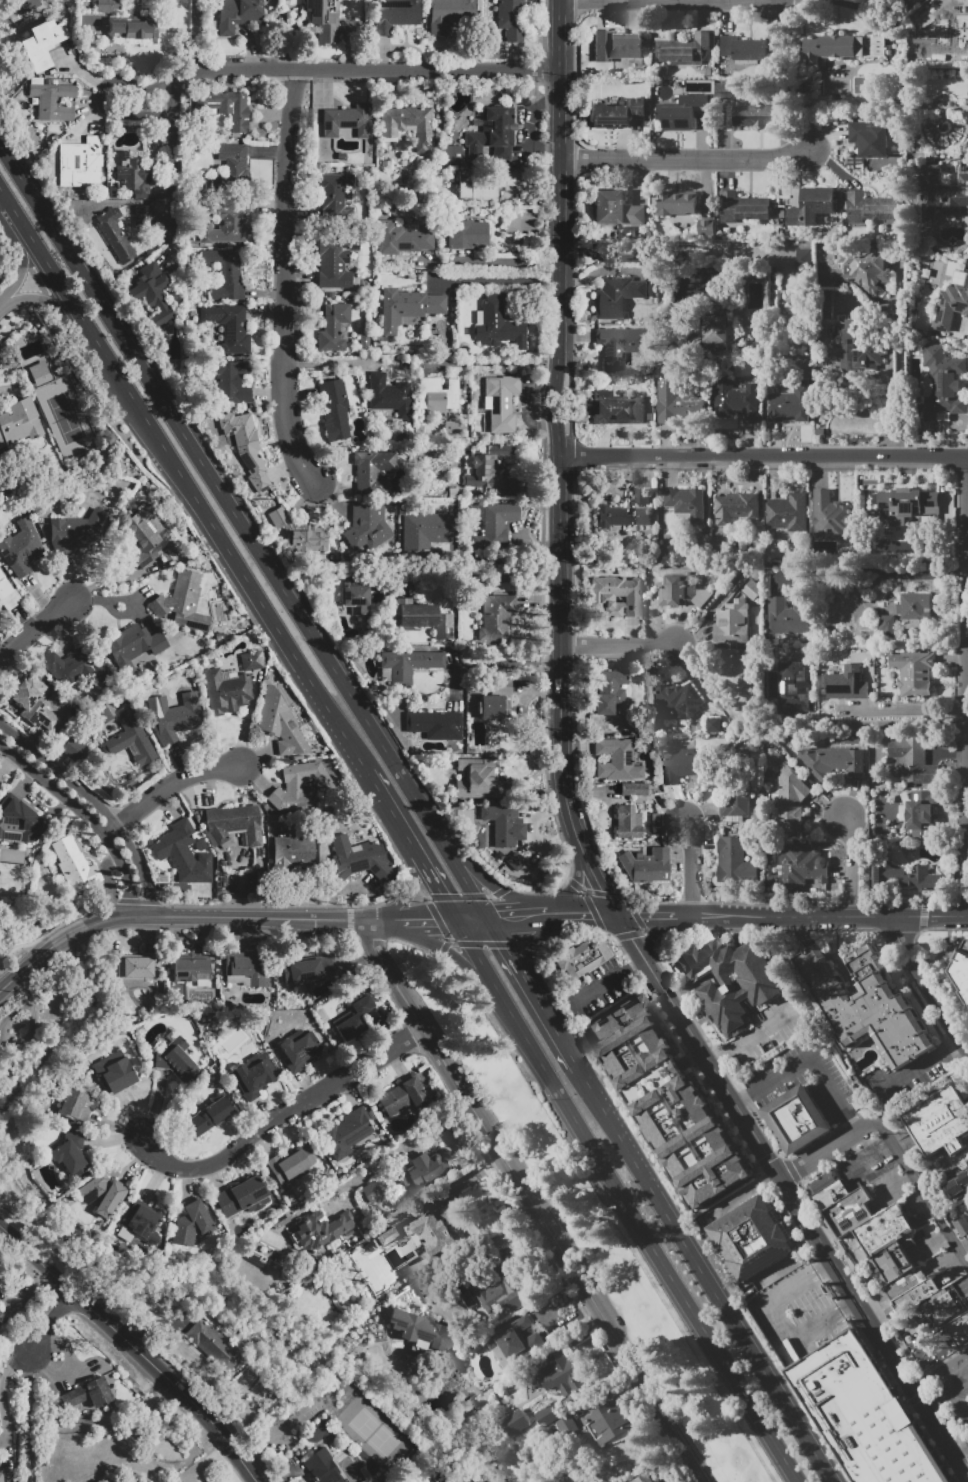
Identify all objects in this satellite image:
building: (170, 0)
building: (137, 2)
building: (107, 6)
building: (238, 15)
building: (396, 15)
building: (450, 15)
building: (511, 19)
building: (333, 23)
building: (139, 27)
building: (944, 29)
road: (191, 38)
building: (44, 46)
building: (617, 46)
building: (839, 48)
building: (683, 50)
building: (742, 50)
road: (347, 72)
road: (135, 85)
building: (724, 92)
building: (54, 103)
building: (226, 108)
building: (680, 112)
building: (616, 113)
building: (757, 116)
building: (346, 120)
building: (410, 125)
building: (493, 135)
building: (869, 139)
building: (453, 154)
road: (172, 157)
building: (232, 161)
road: (688, 161)
building: (81, 164)
road: (562, 165)
building: (134, 173)
building: (483, 184)
building: (941, 194)
building: (336, 195)
building: (677, 203)
building: (742, 207)
building: (811, 207)
building: (870, 208)
building: (616, 212)
building: (144, 215)
building: (512, 222)
building: (228, 223)
building: (706, 230)
building: (467, 235)
building: (114, 236)
building: (403, 237)
road: (634, 255)
building: (333, 257)
building: (803, 258)
road: (23, 262)
road: (493, 262)
building: (863, 269)
building: (228, 272)
road: (288, 281)
road: (497, 283)
building: (152, 295)
building: (619, 295)
road: (42, 298)
building: (952, 301)
road: (6, 302)
building: (408, 307)
building: (498, 325)
building: (228, 327)
building: (333, 327)
building: (715, 333)
building: (620, 345)
building: (858, 349)
road: (899, 359)
road: (336, 362)
road: (489, 363)
building: (39, 373)
building: (231, 381)
building: (942, 385)
road: (556, 392)
road: (570, 393)
building: (439, 394)
road: (890, 394)
building: (388, 396)
building: (497, 400)
building: (675, 401)
building: (735, 402)
building: (789, 406)
building: (621, 407)
building: (334, 409)
park: (65, 418)
building: (20, 422)
building: (2, 442)
building: (246, 447)
road: (763, 456)
building: (489, 467)
building: (372, 471)
road: (186, 481)
building: (515, 486)
building: (641, 497)
building: (908, 501)
building: (686, 503)
building: (735, 507)
building: (787, 513)
building: (829, 515)
building: (621, 516)
building: (280, 518)
road: (247, 526)
building: (496, 526)
building: (369, 529)
building: (427, 530)
building: (76, 531)
building: (147, 535)
building: (308, 540)
building: (21, 548)
road: (872, 569)
road: (967, 569)
road: (228, 583)
building: (752, 590)
building: (682, 591)
building: (7, 593)
building: (616, 596)
building: (355, 598)
building: (181, 599)
building: (913, 609)
building: (418, 614)
building: (788, 616)
building: (496, 617)
building: (732, 623)
building: (879, 623)
building: (444, 626)
road: (37, 629)
road: (615, 644)
building: (136, 650)
road: (967, 658)
road: (486, 660)
building: (251, 661)
building: (77, 664)
building: (407, 665)
building: (913, 672)
building: (844, 683)
road: (965, 686)
building: (795, 687)
building: (226, 690)
road: (559, 691)
building: (610, 692)
building: (676, 702)
building: (34, 704)
building: (492, 706)
road: (905, 709)
building: (174, 717)
building: (281, 722)
building: (424, 722)
building: (711, 724)
road: (889, 725)
building: (131, 738)
building: (73, 749)
building: (772, 756)
building: (618, 758)
building: (831, 761)
building: (912, 761)
building: (681, 765)
building: (298, 783)
building: (476, 783)
road: (165, 787)
building: (634, 789)
road: (525, 791)
building: (791, 800)
building: (734, 801)
road: (96, 803)
road: (392, 812)
building: (923, 813)
road: (83, 817)
building: (18, 820)
building: (235, 823)
building: (628, 823)
building: (504, 825)
building: (291, 852)
building: (183, 853)
building: (358, 859)
building: (515, 861)
building: (733, 861)
building: (76, 863)
building: (802, 864)
road: (851, 865)
building: (647, 866)
road: (691, 867)
building: (903, 875)
road: (483, 878)
road: (574, 883)
road: (436, 885)
road: (406, 891)
traffic signals: (440, 891)
road: (551, 915)
road: (585, 915)
road: (224, 916)
road: (516, 916)
traffic signals: (614, 916)
road: (644, 916)
road: (696, 916)
road: (843, 916)
traffic signals: (499, 917)
road: (472, 919)
road: (385, 920)
road: (430, 922)
traffic signals: (435, 922)
road: (652, 934)
road: (68, 936)
road: (531, 945)
traffic signals: (506, 949)
road: (508, 952)
road: (451, 953)
road: (476, 953)
building: (578, 959)
road: (25, 966)
building: (137, 967)
building: (192, 968)
building: (961, 968)
building: (247, 969)
building: (307, 970)
road: (606, 981)
building: (732, 983)
road: (926, 983)
parking lot: (595, 990)
building: (862, 1005)
road: (673, 1009)
building: (750, 1011)
road: (14, 1013)
building: (353, 1018)
road: (554, 1028)
road: (32, 1029)
road: (751, 1038)
building: (297, 1049)
building: (177, 1058)
road: (921, 1063)
building: (114, 1072)
building: (254, 1076)
road: (770, 1079)
road: (835, 1092)
building: (403, 1095)
building: (666, 1101)
building: (77, 1106)
building: (211, 1116)
road: (284, 1117)
road: (759, 1119)
building: (797, 1119)
building: (941, 1122)
road: (745, 1124)
building: (346, 1133)
road: (401, 1146)
road: (828, 1148)
building: (71, 1154)
road: (857, 1156)
building: (289, 1164)
building: (423, 1170)
building: (956, 1184)
road: (895, 1186)
building: (372, 1192)
road: (923, 1192)
building: (104, 1193)
building: (242, 1197)
road: (530, 1203)
building: (845, 1207)
park: (586, 1218)
building: (141, 1223)
building: (192, 1223)
building: (960, 1225)
building: (873, 1228)
building: (320, 1230)
building: (437, 1233)
building: (388, 1236)
road: (645, 1236)
building: (750, 1239)
building: (881, 1242)
road: (481, 1246)
building: (885, 1267)
road: (704, 1276)
building: (906, 1282)
building: (497, 1292)
building: (915, 1295)
road: (790, 1300)
building: (944, 1306)
parking lot: (797, 1311)
road: (861, 1313)
road: (47, 1322)
building: (918, 1322)
road: (828, 1329)
building: (423, 1330)
building: (514, 1341)
building: (216, 1346)
building: (932, 1348)
road: (135, 1349)
road: (943, 1370)
building: (560, 1373)
road: (915, 1388)
parking lot: (953, 1390)
road: (949, 1393)
building: (89, 1394)
road: (927, 1407)
building: (548, 1415)
road: (28, 1418)
building: (517, 1422)
building: (608, 1422)
road: (957, 1424)
building: (567, 1425)
park: (372, 1430)
building: (883, 1433)
road: (943, 1433)
road: (965, 1453)
road: (958, 1457)
building: (321, 1467)
building: (1, 1477)
building: (451, 1479)
building: (643, 1479)
parking lot: (950, 1480)

